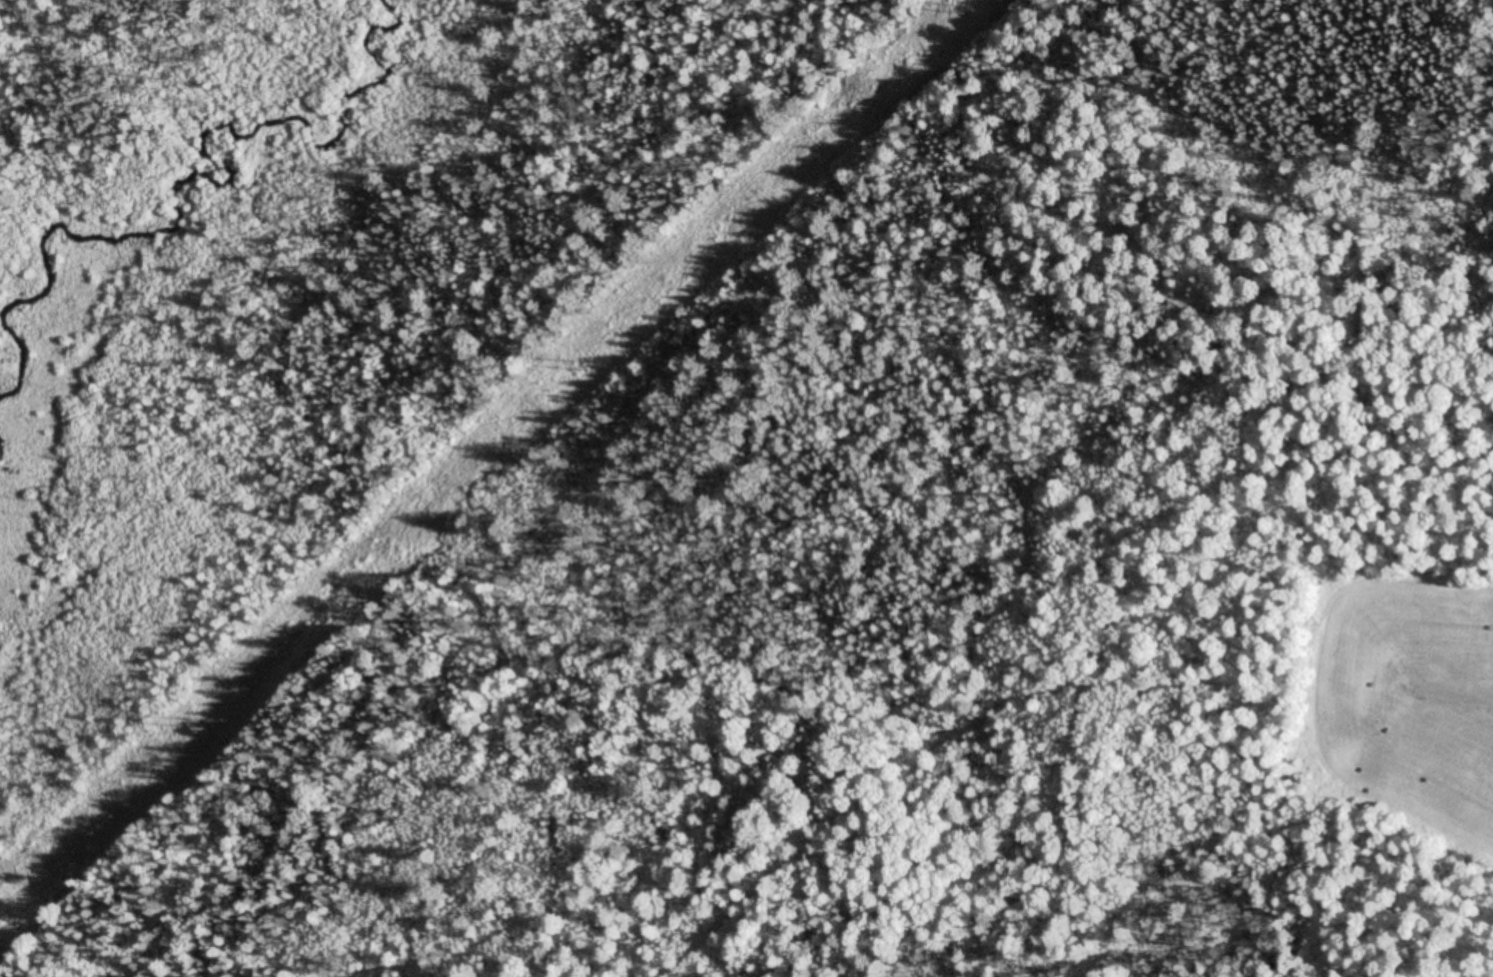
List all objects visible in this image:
building: (705, 481)

